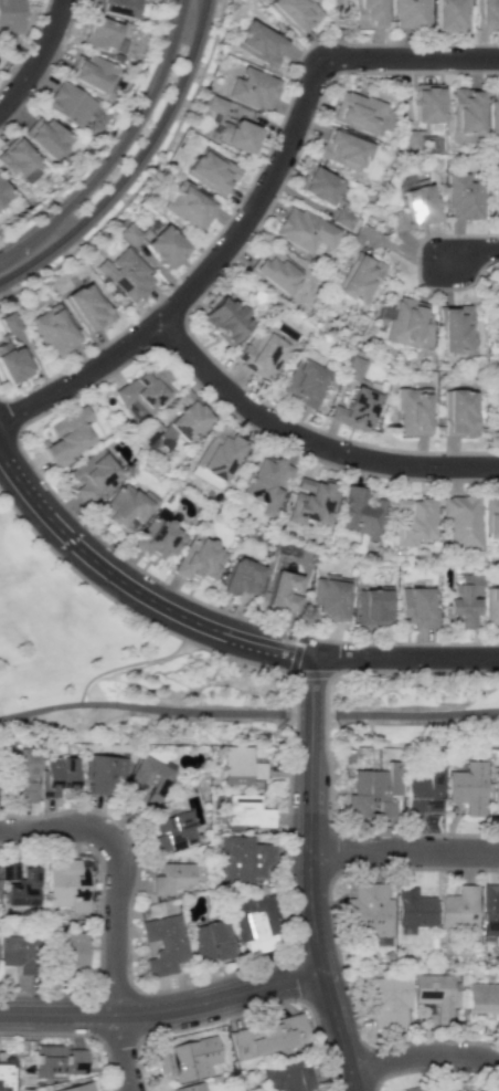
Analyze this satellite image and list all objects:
building: (116, 7)
building: (294, 13)
building: (368, 13)
building: (408, 13)
building: (486, 13)
building: (10, 15)
building: (447, 15)
park: (338, 18)
road: (337, 29)
building: (98, 32)
building: (258, 44)
road: (38, 61)
building: (89, 71)
building: (253, 88)
building: (67, 103)
building: (214, 105)
building: (426, 105)
building: (466, 111)
building: (355, 112)
building: (493, 112)
park: (121, 113)
building: (237, 135)
building: (44, 136)
building: (410, 139)
road: (120, 149)
building: (341, 149)
building: (15, 157)
road: (132, 162)
building: (210, 170)
building: (317, 185)
building: (2, 193)
building: (461, 196)
building: (496, 197)
building: (188, 203)
road: (254, 206)
building: (417, 206)
building: (395, 219)
building: (127, 231)
building: (305, 231)
building: (164, 245)
road: (474, 250)
building: (274, 271)
building: (125, 274)
building: (357, 277)
building: (86, 307)
building: (224, 319)
building: (403, 321)
building: (9, 322)
building: (454, 328)
building: (53, 329)
building: (12, 363)
building: (353, 367)
building: (304, 381)
building: (145, 386)
building: (354, 409)
building: (412, 411)
building: (459, 412)
building: (171, 422)
building: (67, 436)
road: (307, 439)
building: (219, 457)
building: (94, 472)
building: (267, 482)
building: (311, 502)
building: (126, 507)
building: (361, 513)
building: (491, 517)
building: (461, 518)
building: (414, 520)
building: (159, 538)
building: (199, 559)
building: (241, 577)
park: (2, 581)
building: (283, 590)
building: (331, 597)
building: (464, 601)
building: (491, 605)
building: (375, 607)
building: (417, 608)
road: (216, 630)
road: (168, 655)
park: (116, 669)
road: (96, 676)
road: (142, 706)
park: (413, 706)
road: (417, 713)
building: (18, 762)
building: (238, 766)
building: (102, 773)
building: (56, 775)
building: (144, 785)
building: (466, 787)
building: (25, 791)
building: (373, 791)
building: (422, 791)
building: (495, 793)
building: (247, 810)
street lamp: (36, 814)
building: (170, 833)
road: (403, 849)
building: (243, 858)
road: (116, 872)
road: (309, 874)
building: (169, 877)
building: (18, 882)
building: (66, 884)
building: (412, 908)
building: (489, 910)
building: (367, 911)
building: (457, 912)
building: (254, 922)
building: (210, 941)
building: (162, 944)
building: (19, 953)
building: (65, 954)
building: (434, 995)
building: (481, 997)
building: (385, 999)
road: (162, 1011)
street lamp: (85, 1036)
building: (267, 1037)
road: (423, 1052)
road: (121, 1053)
building: (187, 1058)
building: (55, 1060)
building: (4, 1073)
building: (287, 1077)
building: (77, 1087)
building: (190, 1087)
building: (425, 1087)
street lamp: (148, 1089)

